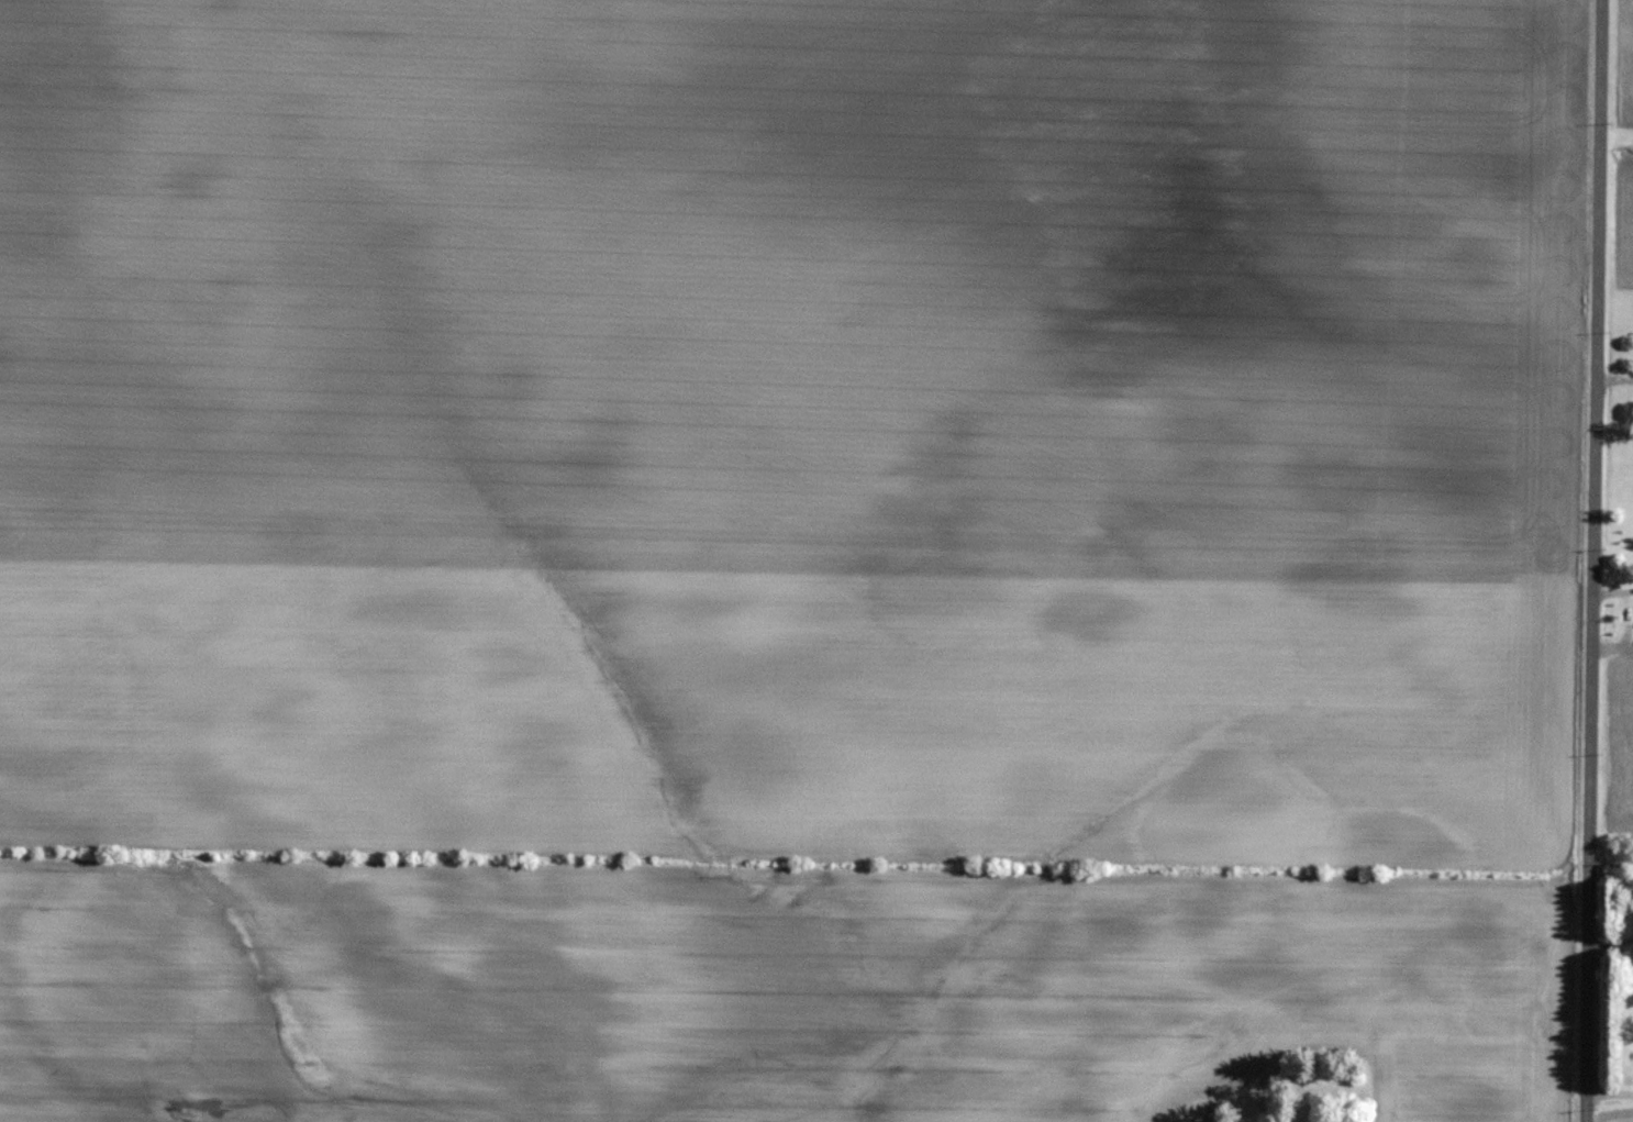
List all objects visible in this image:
road: (1612, 377)
road: (1590, 560)
road: (1611, 593)
road: (1624, 613)
road: (1611, 642)
road: (1609, 942)
road: (1607, 1095)

